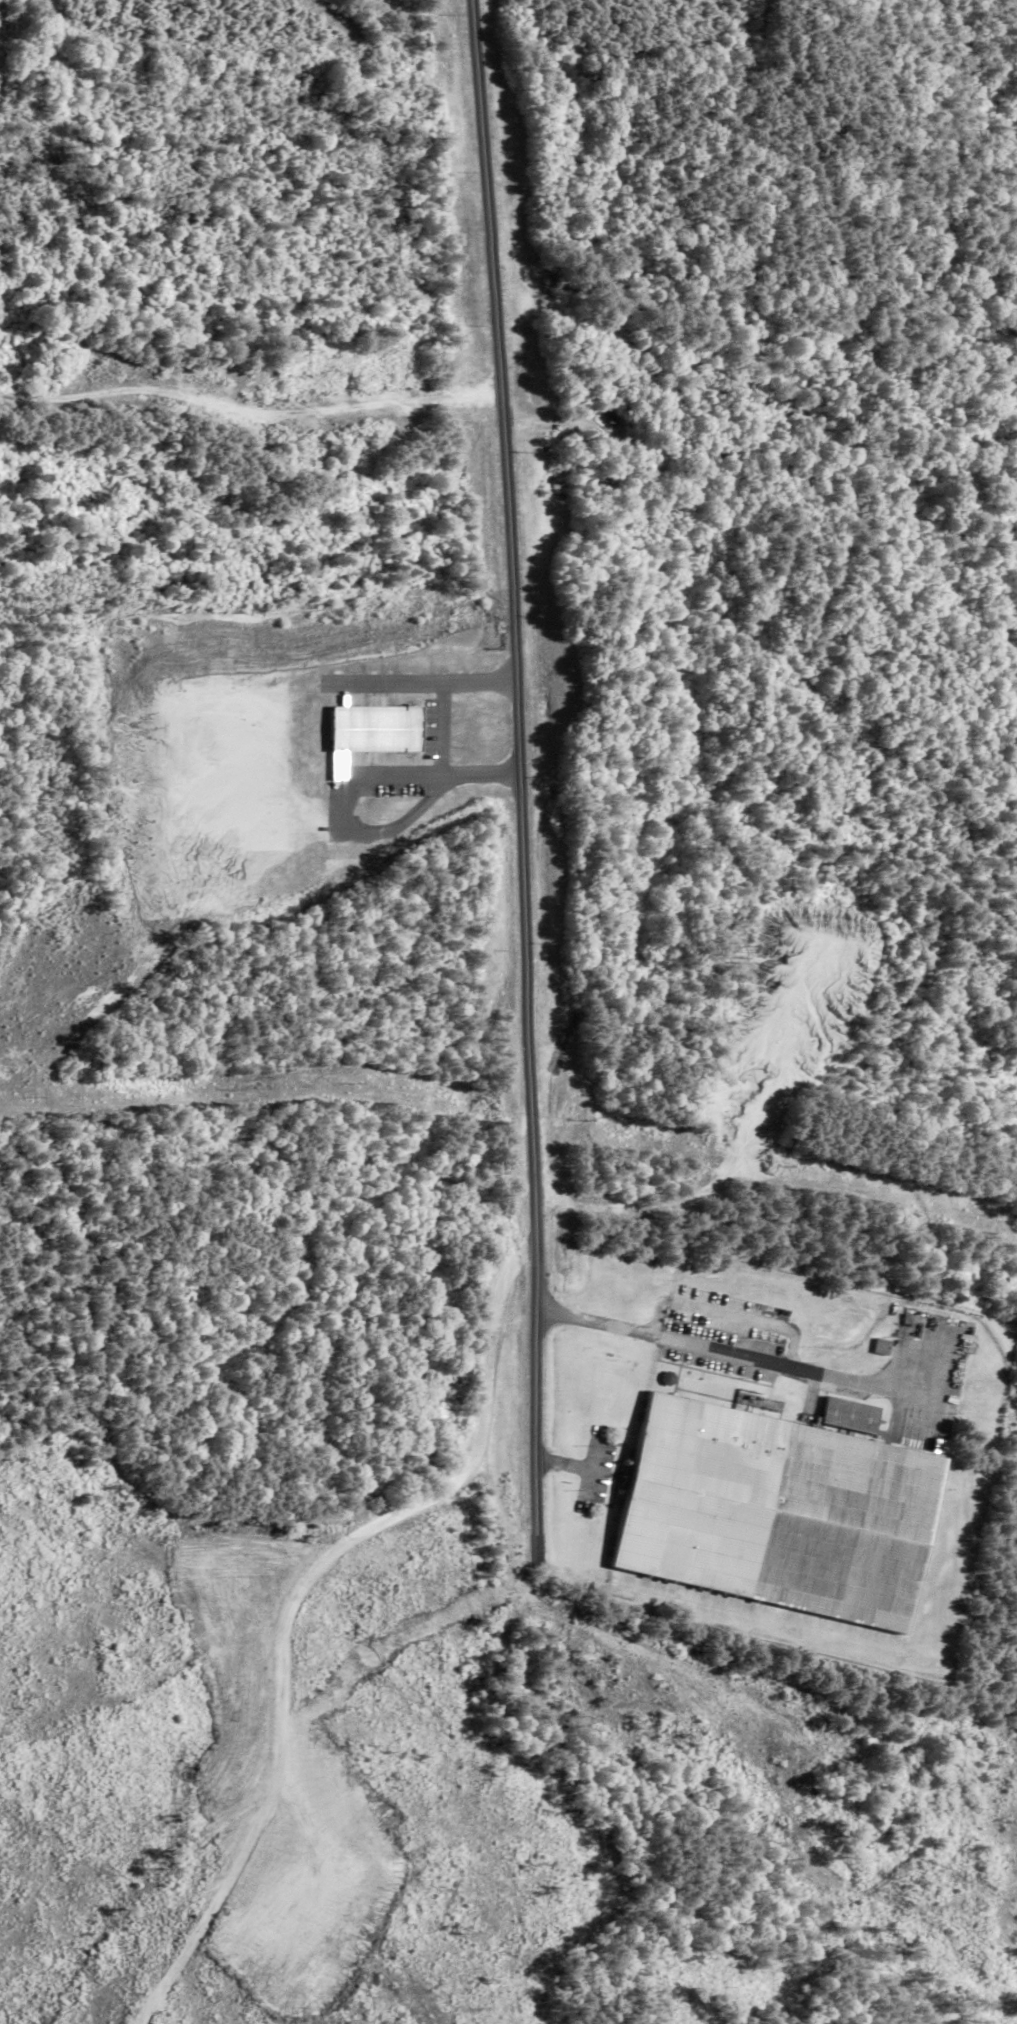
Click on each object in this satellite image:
road: (437, 730)
road: (518, 781)
building: (881, 1346)
road: (744, 1357)
building: (850, 1415)
building: (779, 1512)
road: (289, 1676)

